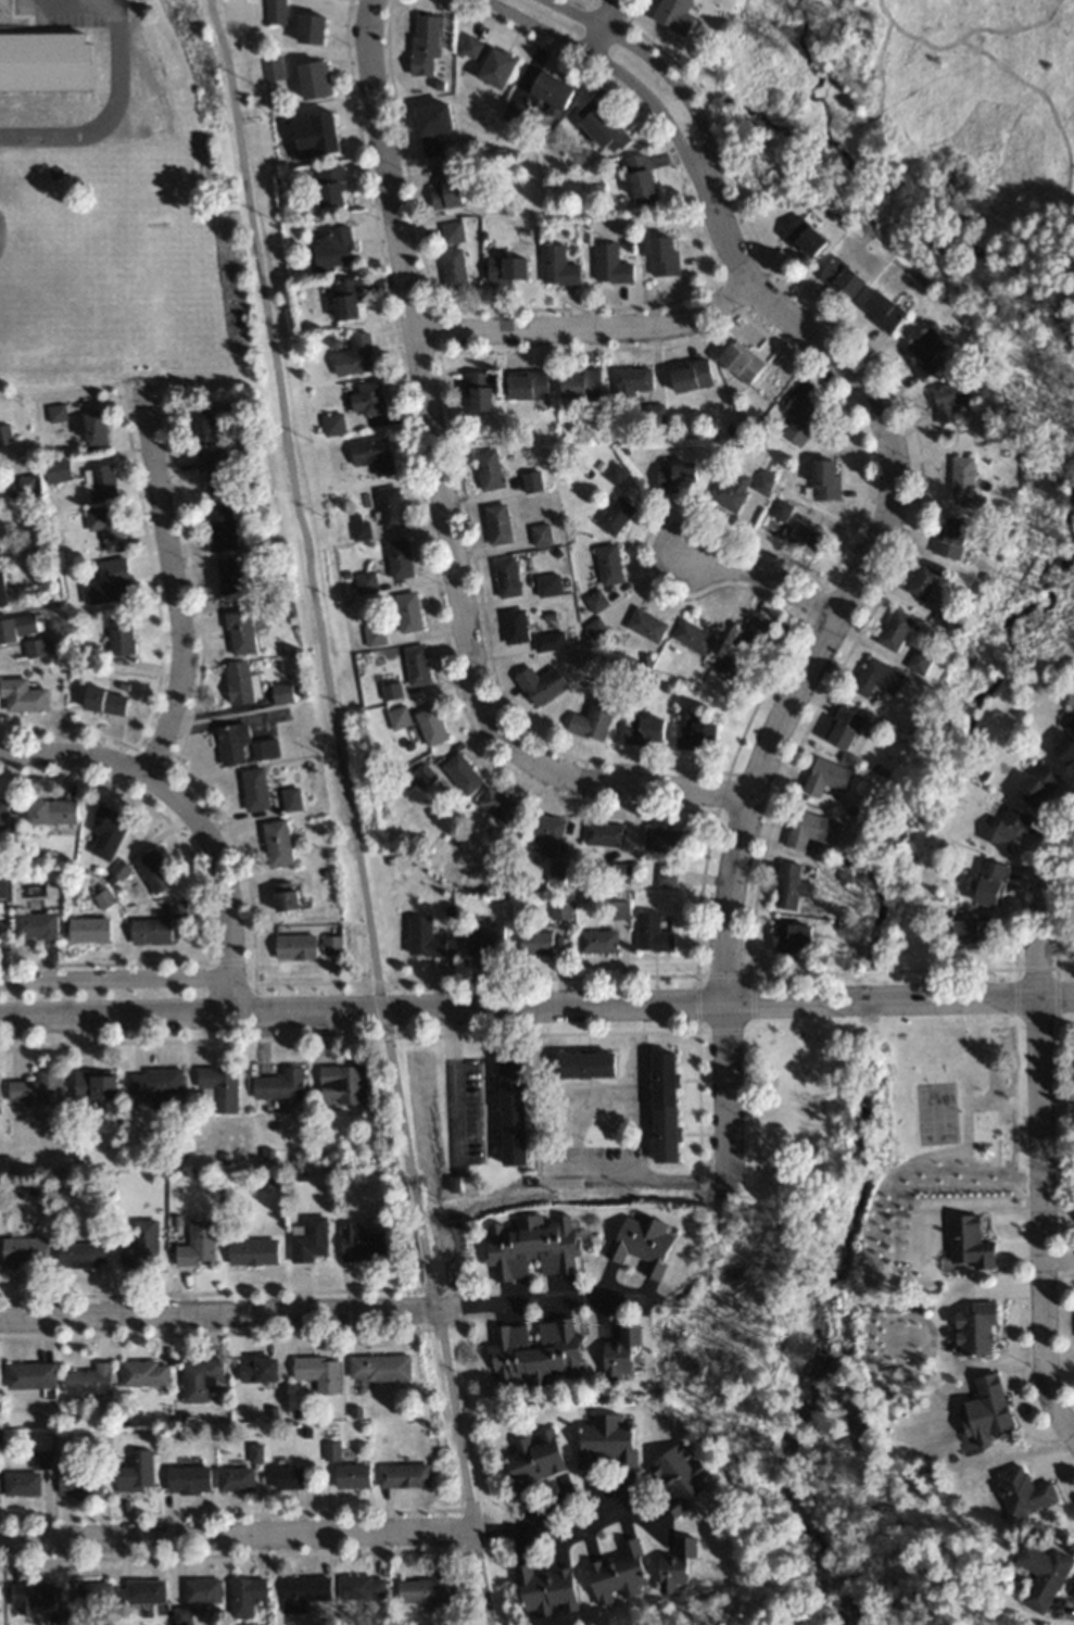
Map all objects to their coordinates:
road: (67, 9)
building: (273, 12)
building: (673, 14)
road: (599, 27)
building: (308, 29)
building: (424, 46)
building: (470, 48)
building: (269, 67)
road: (20, 68)
building: (495, 68)
road: (662, 70)
road: (616, 72)
building: (312, 80)
building: (551, 93)
building: (431, 128)
building: (601, 128)
building: (314, 136)
building: (639, 179)
building: (329, 187)
building: (444, 187)
building: (451, 232)
building: (804, 238)
building: (331, 247)
building: (661, 255)
building: (609, 265)
building: (556, 267)
building: (453, 269)
building: (506, 270)
building: (844, 277)
building: (345, 300)
building: (882, 313)
road: (585, 327)
building: (922, 353)
building: (353, 356)
building: (740, 363)
building: (688, 377)
building: (628, 385)
building: (579, 386)
building: (526, 387)
building: (478, 392)
building: (367, 399)
building: (949, 399)
building: (54, 414)
building: (653, 416)
building: (799, 421)
building: (332, 426)
building: (200, 427)
building: (89, 428)
building: (4, 437)
building: (371, 455)
building: (487, 470)
building: (55, 473)
building: (214, 473)
building: (612, 475)
building: (675, 478)
building: (823, 481)
building: (98, 482)
building: (963, 482)
building: (530, 483)
building: (762, 483)
building: (26, 487)
building: (729, 492)
road: (444, 499)
building: (389, 507)
building: (780, 509)
building: (614, 517)
building: (496, 525)
building: (220, 527)
building: (105, 528)
building: (359, 531)
building: (540, 536)
building: (951, 538)
building: (804, 540)
building: (397, 559)
building: (607, 565)
road: (760, 572)
building: (228, 577)
building: (505, 578)
building: (922, 582)
building: (106, 583)
building: (364, 583)
building: (545, 588)
road: (177, 592)
building: (1, 594)
building: (594, 603)
building: (407, 613)
building: (645, 626)
building: (514, 627)
building: (17, 629)
building: (593, 630)
building: (895, 630)
building: (239, 632)
building: (118, 634)
building: (755, 638)
building: (692, 639)
building: (548, 643)
building: (34, 650)
road: (814, 651)
building: (919, 662)
building: (415, 665)
building: (724, 668)
building: (876, 678)
building: (238, 683)
building: (540, 686)
building: (280, 693)
building: (22, 696)
building: (103, 702)
building: (397, 717)
building: (591, 722)
building: (429, 726)
building: (844, 729)
building: (643, 731)
building: (695, 735)
building: (1065, 742)
building: (231, 744)
building: (264, 748)
building: (460, 772)
building: (421, 776)
building: (825, 776)
building: (1036, 784)
building: (253, 788)
building: (290, 798)
building: (497, 805)
park: (907, 805)
building: (50, 811)
road: (191, 811)
road: (350, 811)
building: (2, 812)
building: (812, 829)
building: (1009, 829)
building: (103, 831)
building: (546, 832)
building: (603, 834)
building: (662, 840)
building: (276, 843)
building: (152, 870)
building: (665, 876)
building: (989, 882)
building: (2, 885)
building: (788, 885)
building: (285, 896)
building: (559, 910)
building: (617, 910)
road: (1044, 910)
building: (33, 925)
building: (87, 930)
building: (650, 933)
building: (973, 933)
building: (792, 936)
building: (425, 937)
building: (484, 939)
building: (596, 942)
building: (534, 943)
building: (331, 945)
building: (295, 946)
road: (116, 978)
road: (536, 1004)
building: (585, 1066)
building: (93, 1084)
building: (154, 1084)
building: (339, 1084)
building: (279, 1085)
building: (36, 1088)
building: (218, 1088)
building: (936, 1098)
building: (664, 1107)
building: (510, 1110)
road: (639, 1177)
road: (1039, 1218)
building: (307, 1239)
building: (968, 1242)
building: (139, 1243)
building: (355, 1244)
building: (642, 1244)
building: (197, 1245)
building: (531, 1246)
building: (22, 1250)
building: (251, 1251)
building: (80, 1254)
road: (551, 1302)
road: (228, 1312)
building: (975, 1330)
building: (533, 1352)
building: (622, 1353)
building: (378, 1368)
building: (256, 1370)
building: (317, 1372)
building: (144, 1373)
building: (28, 1374)
building: (199, 1378)
building: (88, 1380)
building: (986, 1407)
building: (605, 1443)
building: (533, 1457)
building: (39, 1458)
building: (135, 1472)
building: (351, 1475)
building: (402, 1475)
building: (288, 1477)
building: (187, 1478)
building: (233, 1478)
building: (679, 1478)
building: (78, 1479)
building: (20, 1483)
building: (1022, 1491)
road: (549, 1529)
road: (236, 1535)
building: (677, 1567)
building: (618, 1574)
building: (1043, 1575)
building: (361, 1587)
building: (422, 1589)
building: (202, 1590)
building: (546, 1591)
building: (303, 1593)
building: (138, 1595)
building: (31, 1596)
building: (244, 1596)
building: (90, 1602)
building: (180, 1616)

